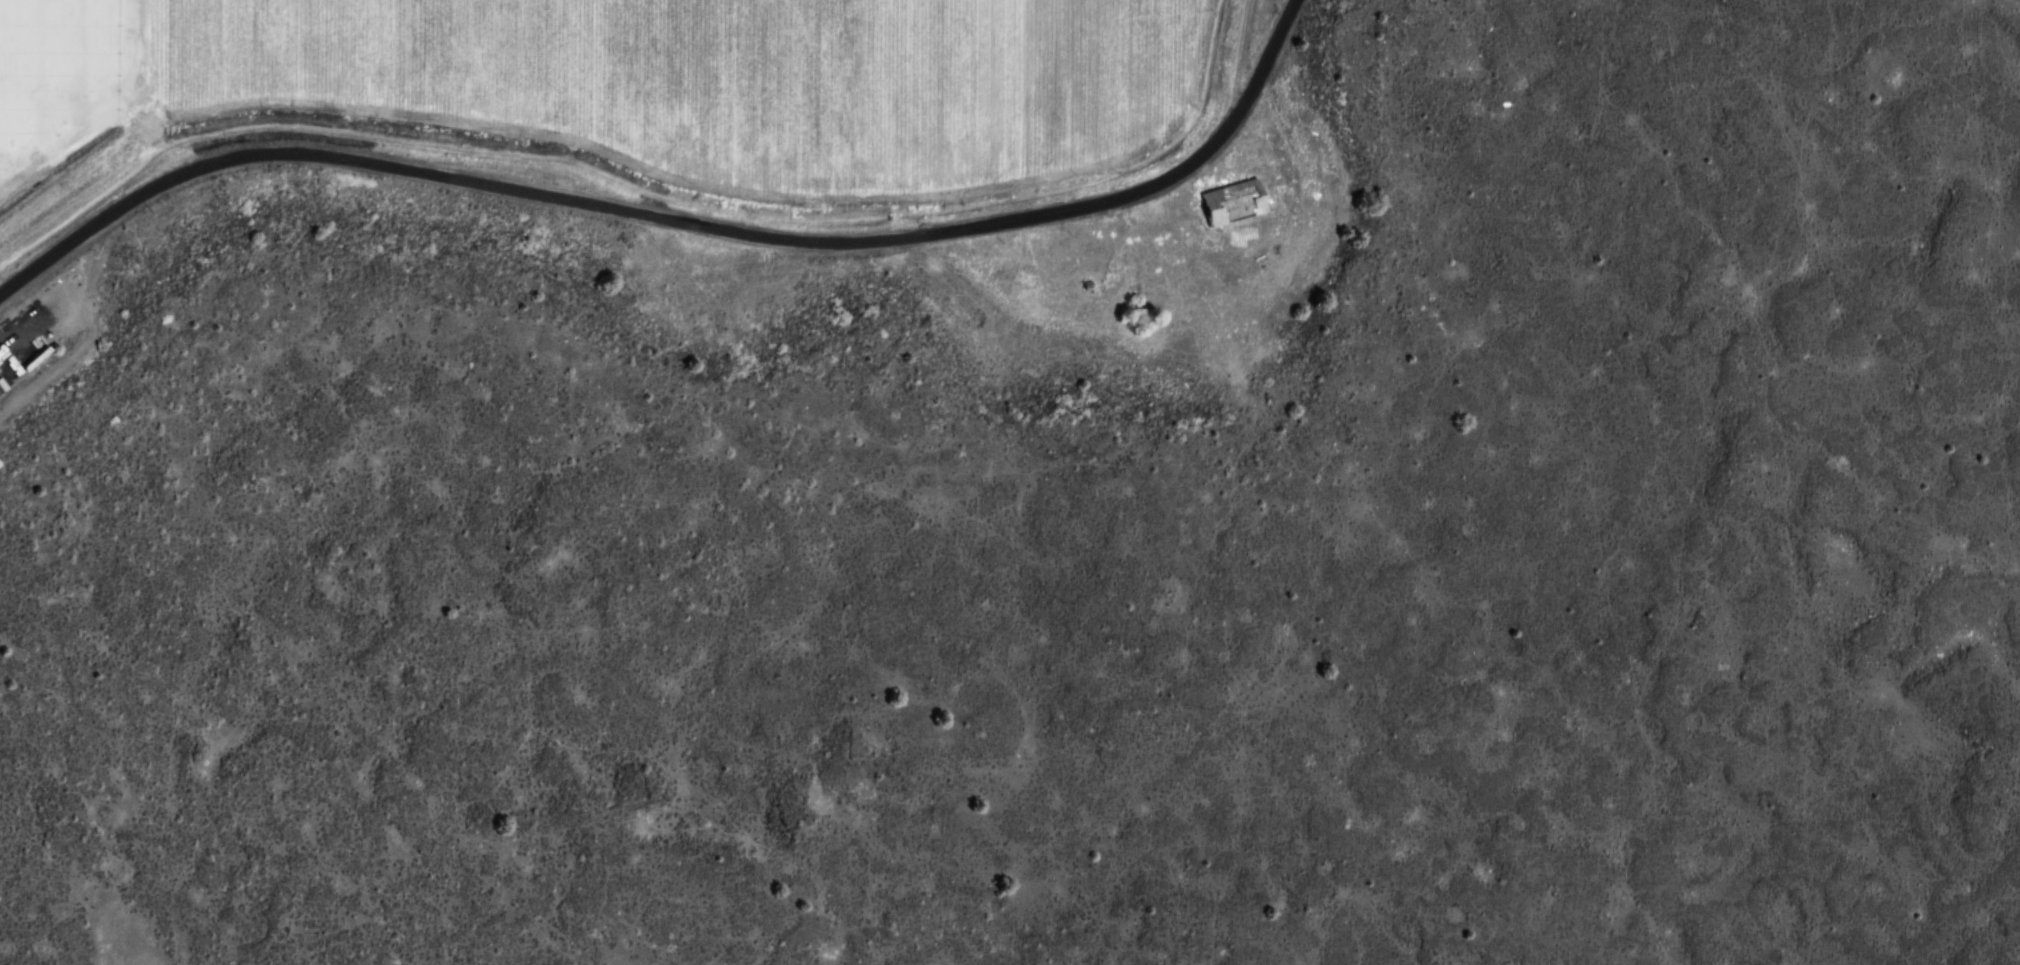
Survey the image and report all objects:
crop: (68, 77)
crop: (723, 83)
building: (1233, 201)
road: (681, 221)
road: (1200, 286)

